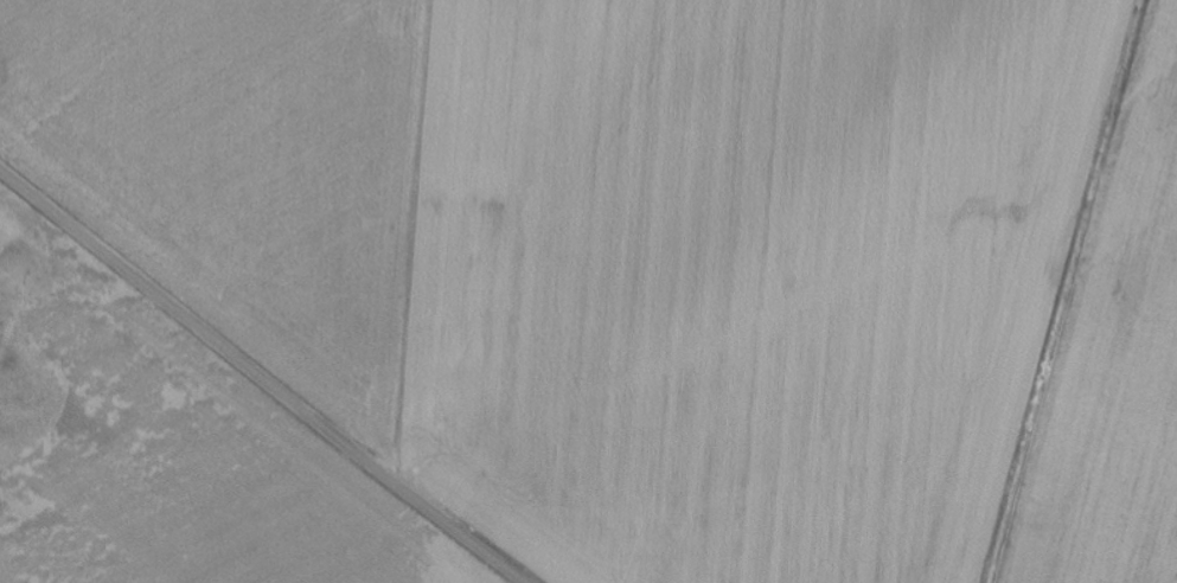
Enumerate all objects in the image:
road: (261, 378)

